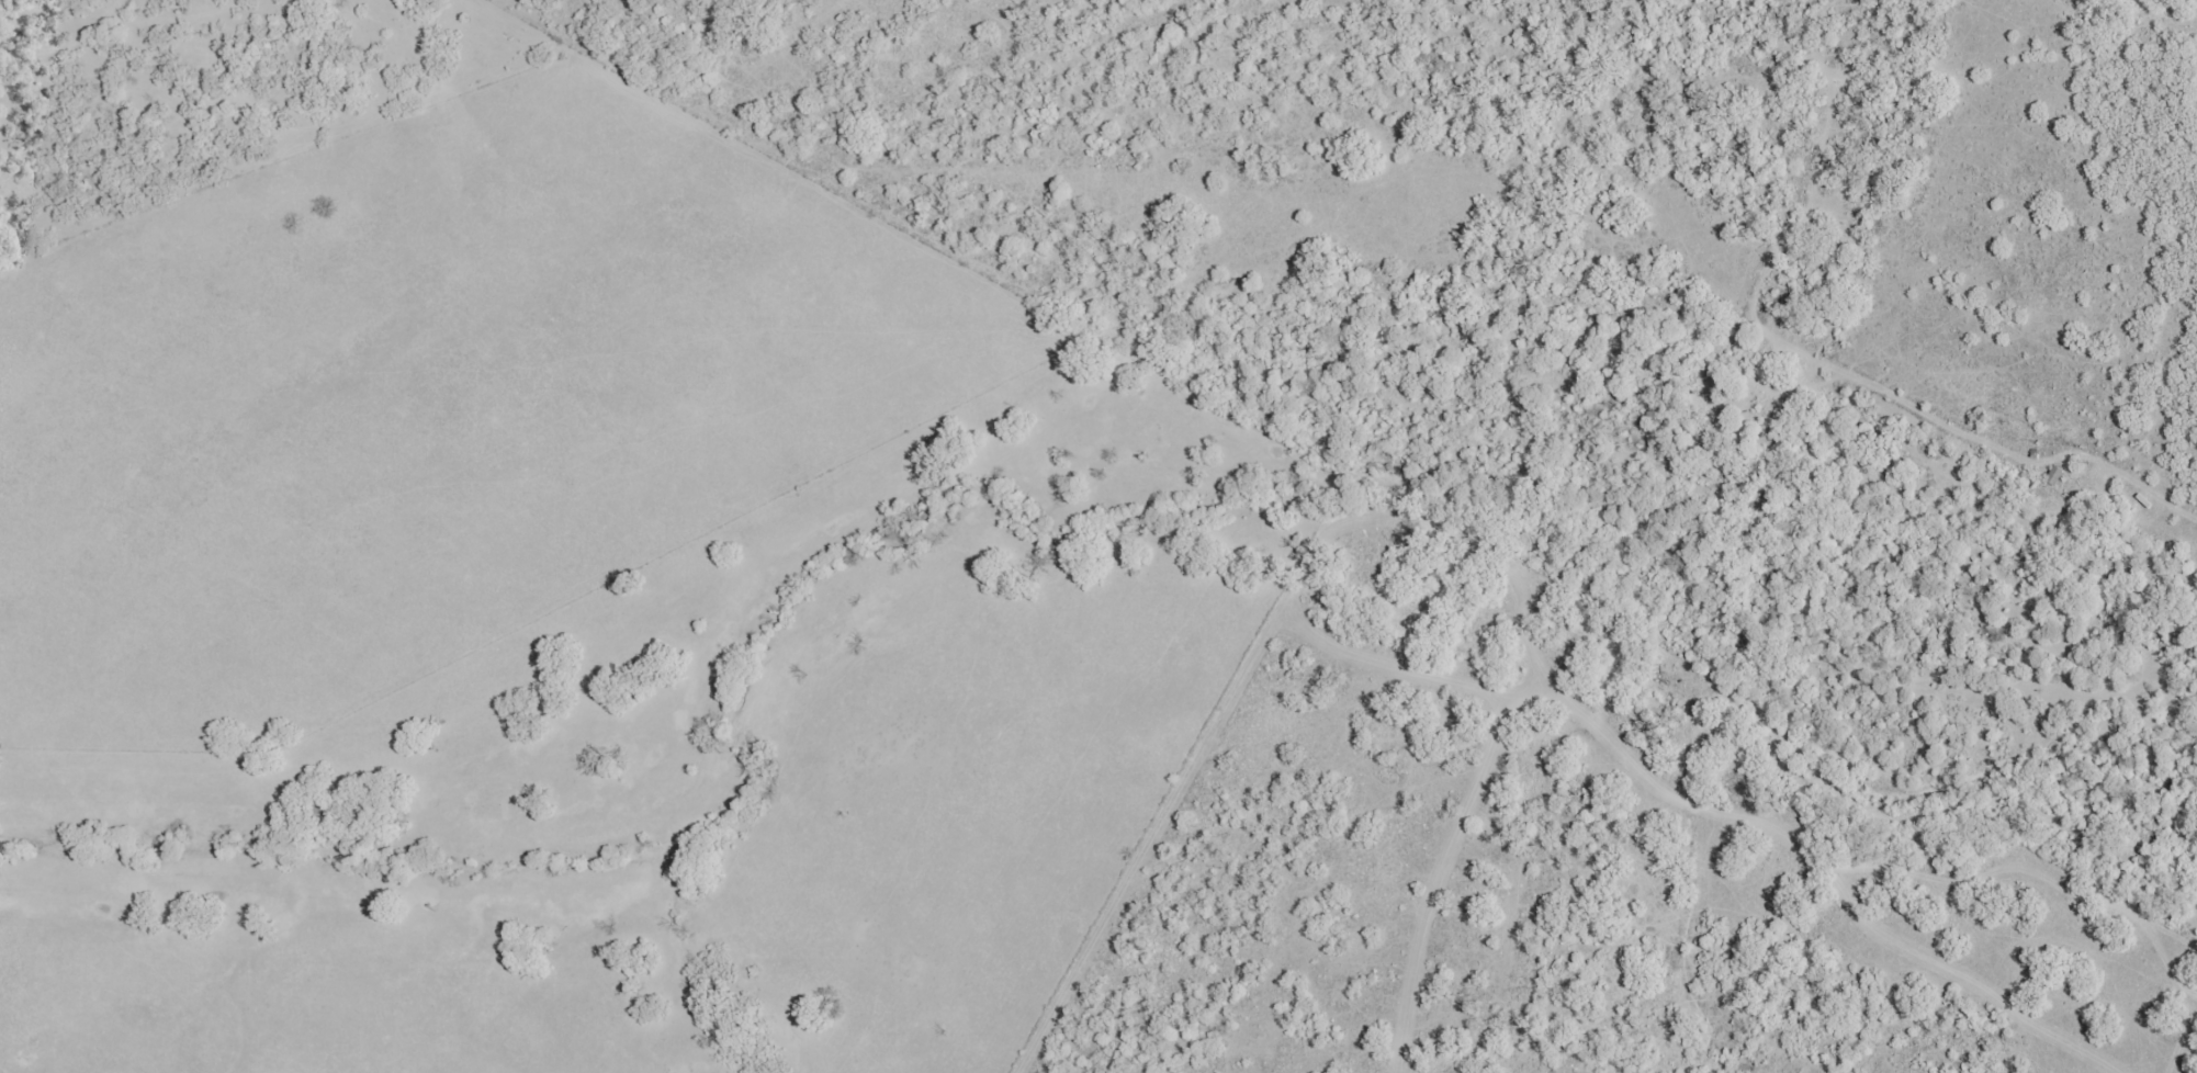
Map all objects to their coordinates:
road: (2133, 290)
building: (2053, 474)

